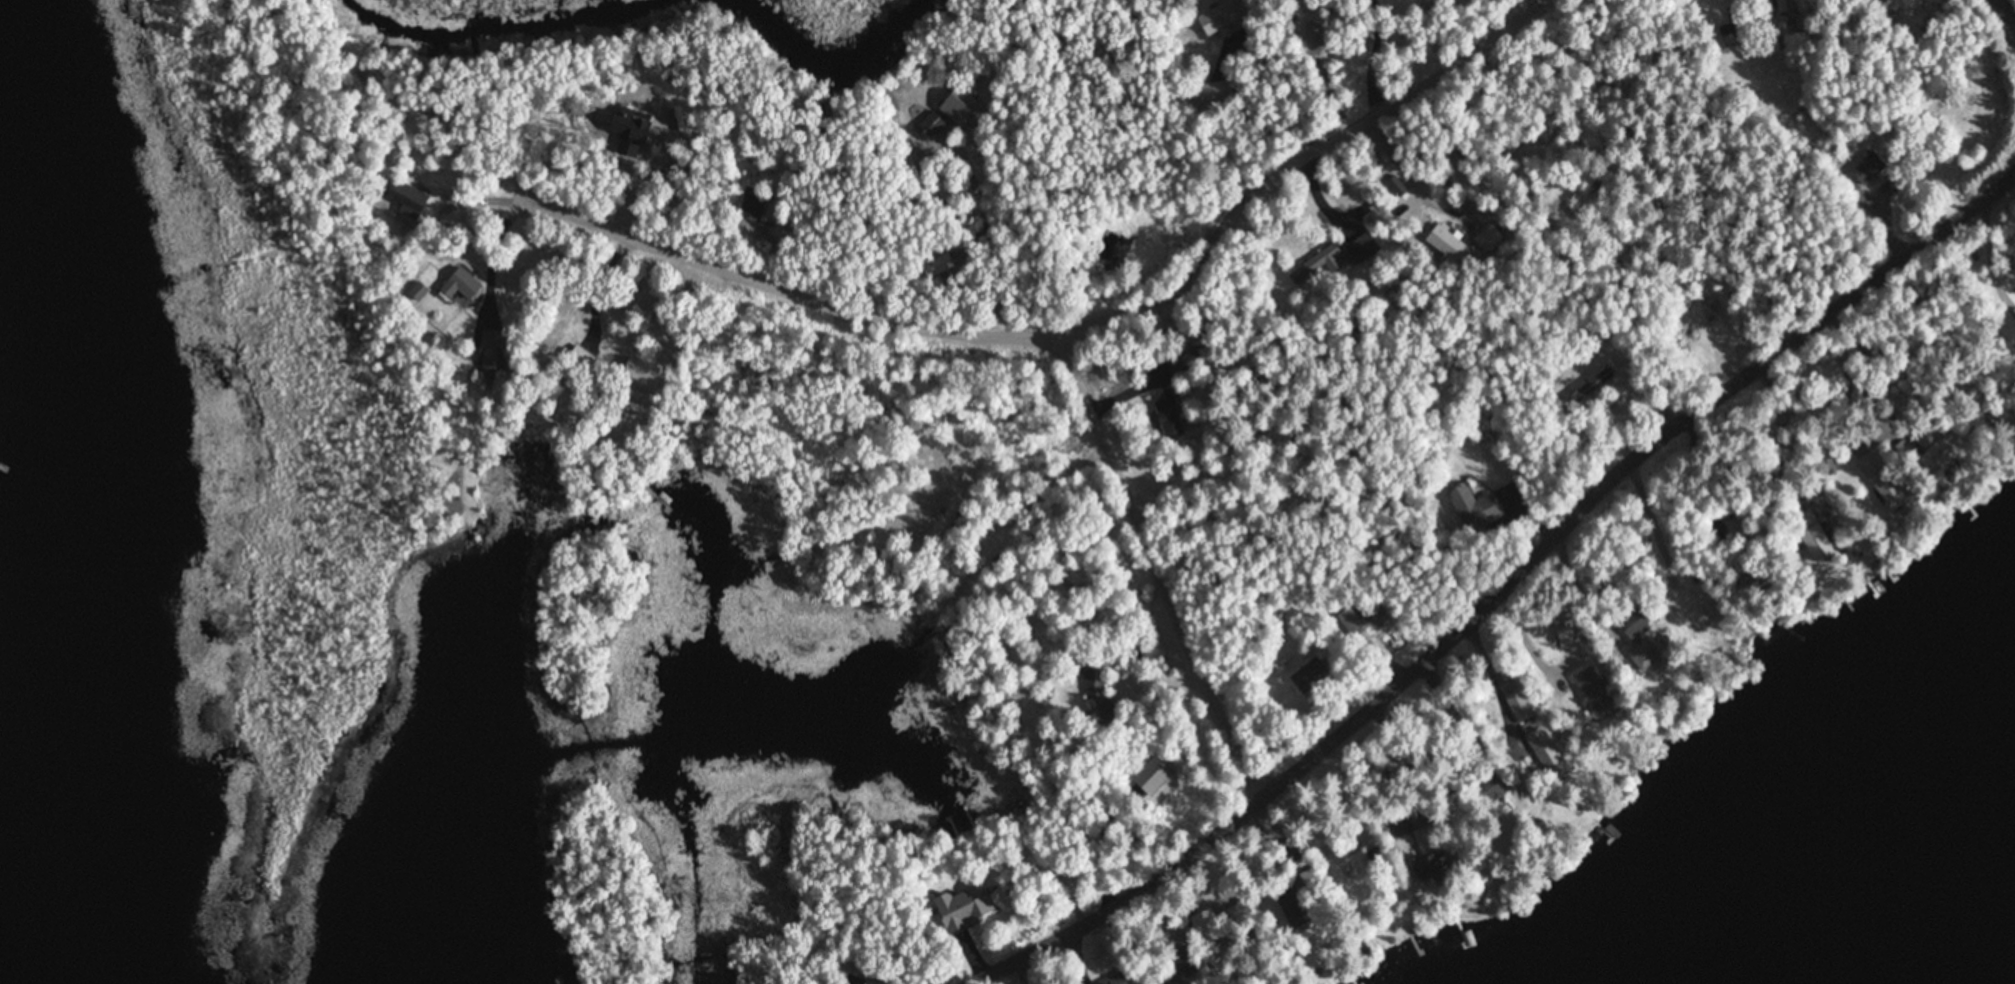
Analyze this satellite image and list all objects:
road: (2011, 4)
building: (1787, 5)
building: (1893, 6)
building: (1219, 17)
building: (1731, 28)
road: (1258, 67)
building: (1321, 79)
building: (1215, 92)
building: (968, 108)
building: (930, 126)
building: (1871, 152)
building: (407, 199)
building: (752, 204)
building: (1363, 247)
building: (1318, 265)
building: (460, 285)
building: (418, 291)
road: (1075, 325)
building: (491, 338)
building: (1185, 364)
building: (642, 374)
building: (1169, 415)
building: (2003, 419)
building: (1933, 450)
building: (943, 466)
building: (1878, 474)
building: (1475, 507)
building: (1736, 525)
building: (1815, 537)
road: (1158, 562)
road: (1497, 583)
building: (1355, 619)
building: (1633, 624)
building: (1568, 628)
building: (1645, 655)
building: (1310, 675)
building: (1094, 678)
building: (1594, 691)
building: (1106, 713)
building: (1542, 749)
building: (1152, 776)
building: (1496, 782)
building: (1432, 869)
building: (1350, 874)
building: (1294, 908)
building: (963, 909)
building: (1182, 957)
building: (863, 970)
building: (1111, 980)

